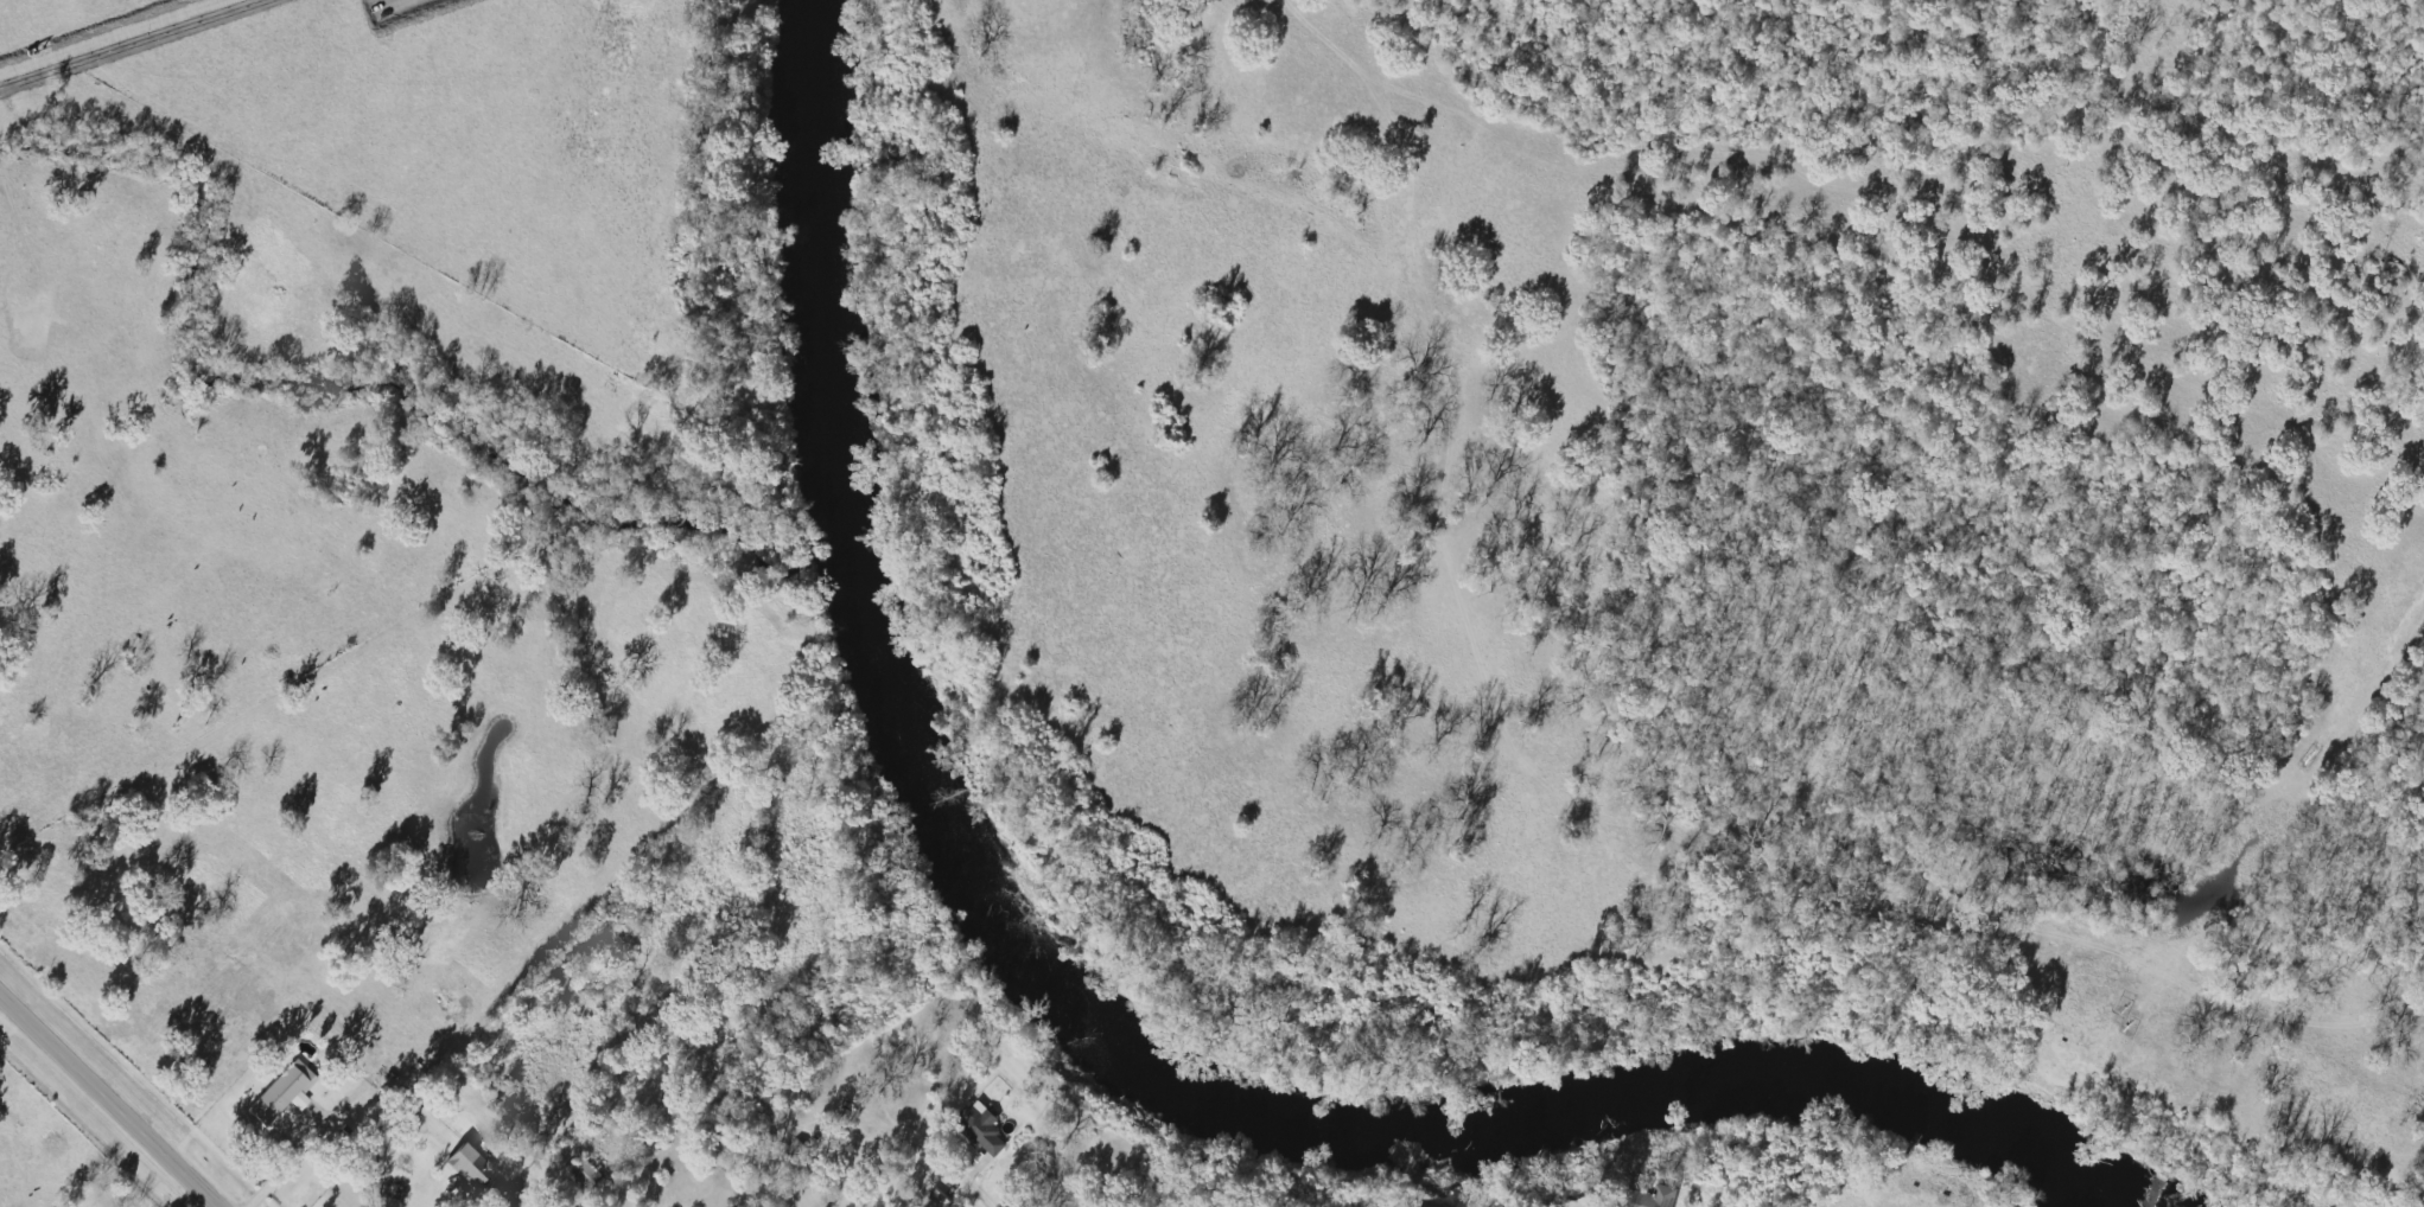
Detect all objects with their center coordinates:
building: (279, 1093)
road: (108, 1099)
building: (985, 1133)
road: (963, 1179)
building: (1663, 1196)

